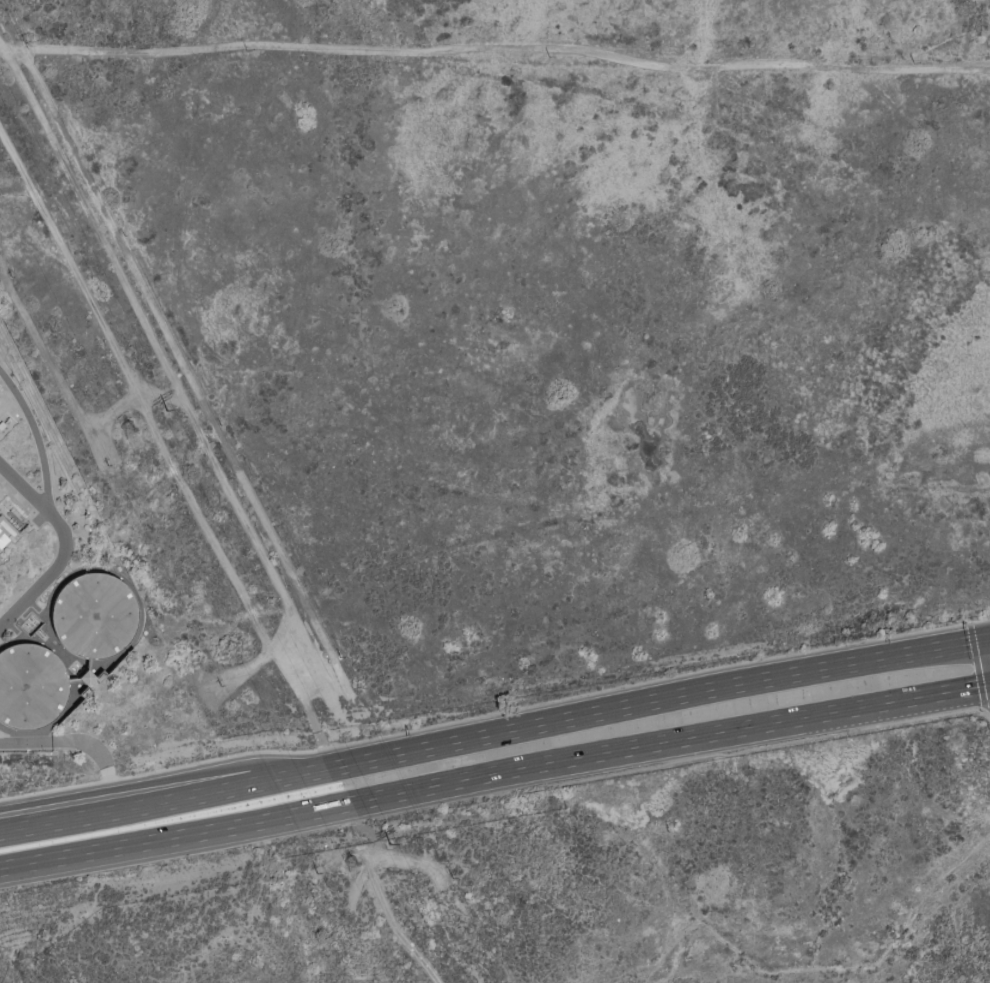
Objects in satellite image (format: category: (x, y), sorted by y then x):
power tower: (169, 413)
power tower: (131, 432)
road: (37, 438)
building: (10, 530)
road: (66, 547)
silo: (88, 608)
road: (815, 673)
silo: (25, 682)
road: (495, 712)
road: (830, 714)
road: (507, 734)
road: (70, 744)
road: (526, 768)
road: (168, 781)
road: (187, 798)
road: (207, 825)
power tower: (392, 845)
road: (17, 858)
power tower: (357, 864)

